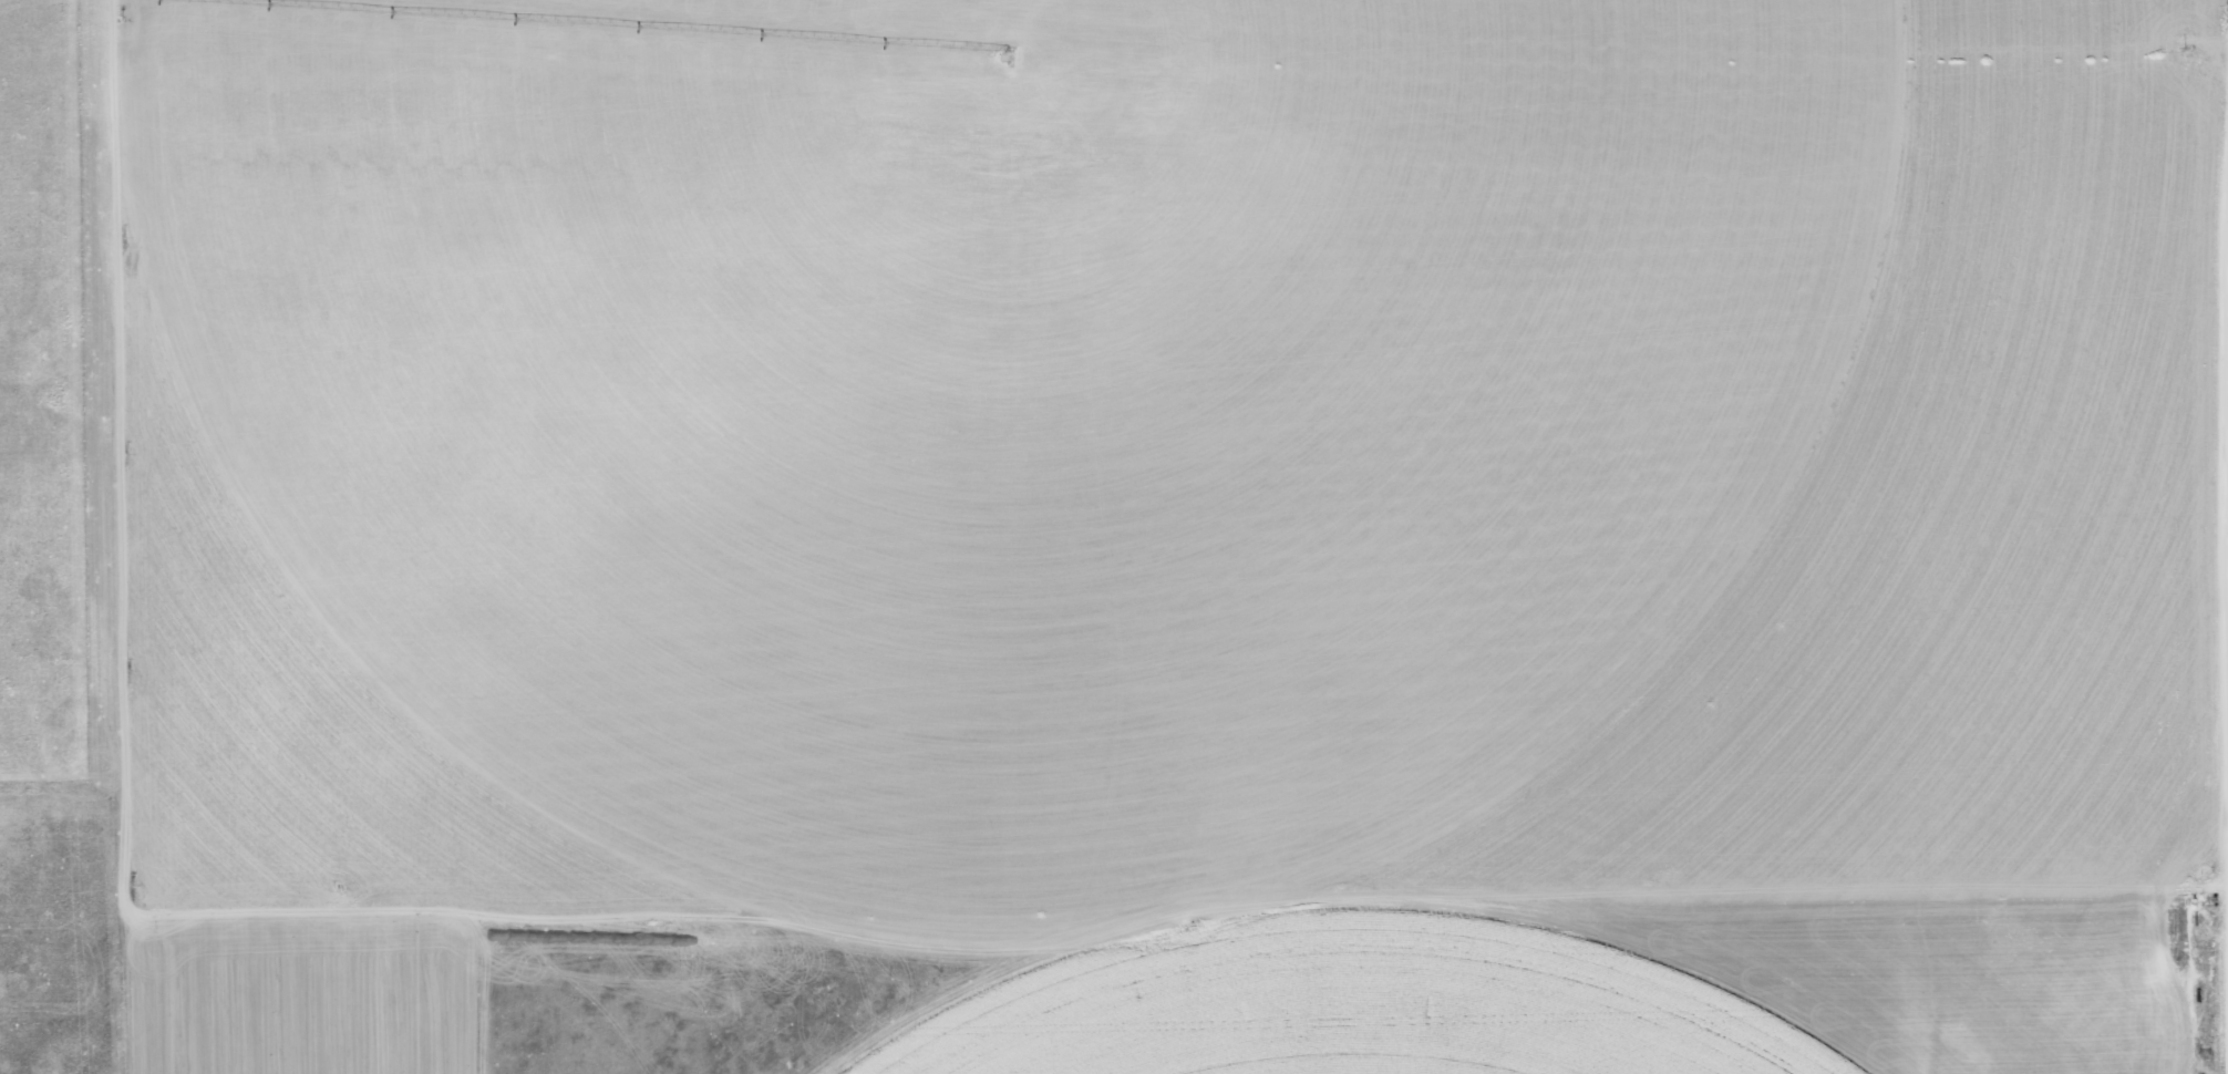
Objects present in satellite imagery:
road: (1133, 910)

